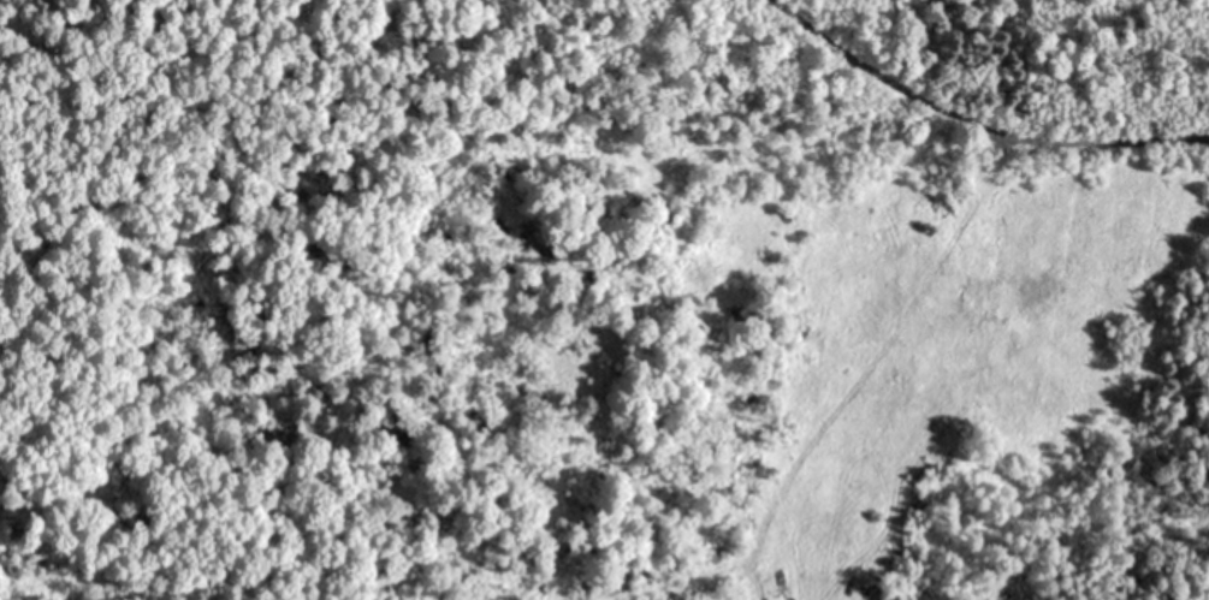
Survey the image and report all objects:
road: (974, 120)

